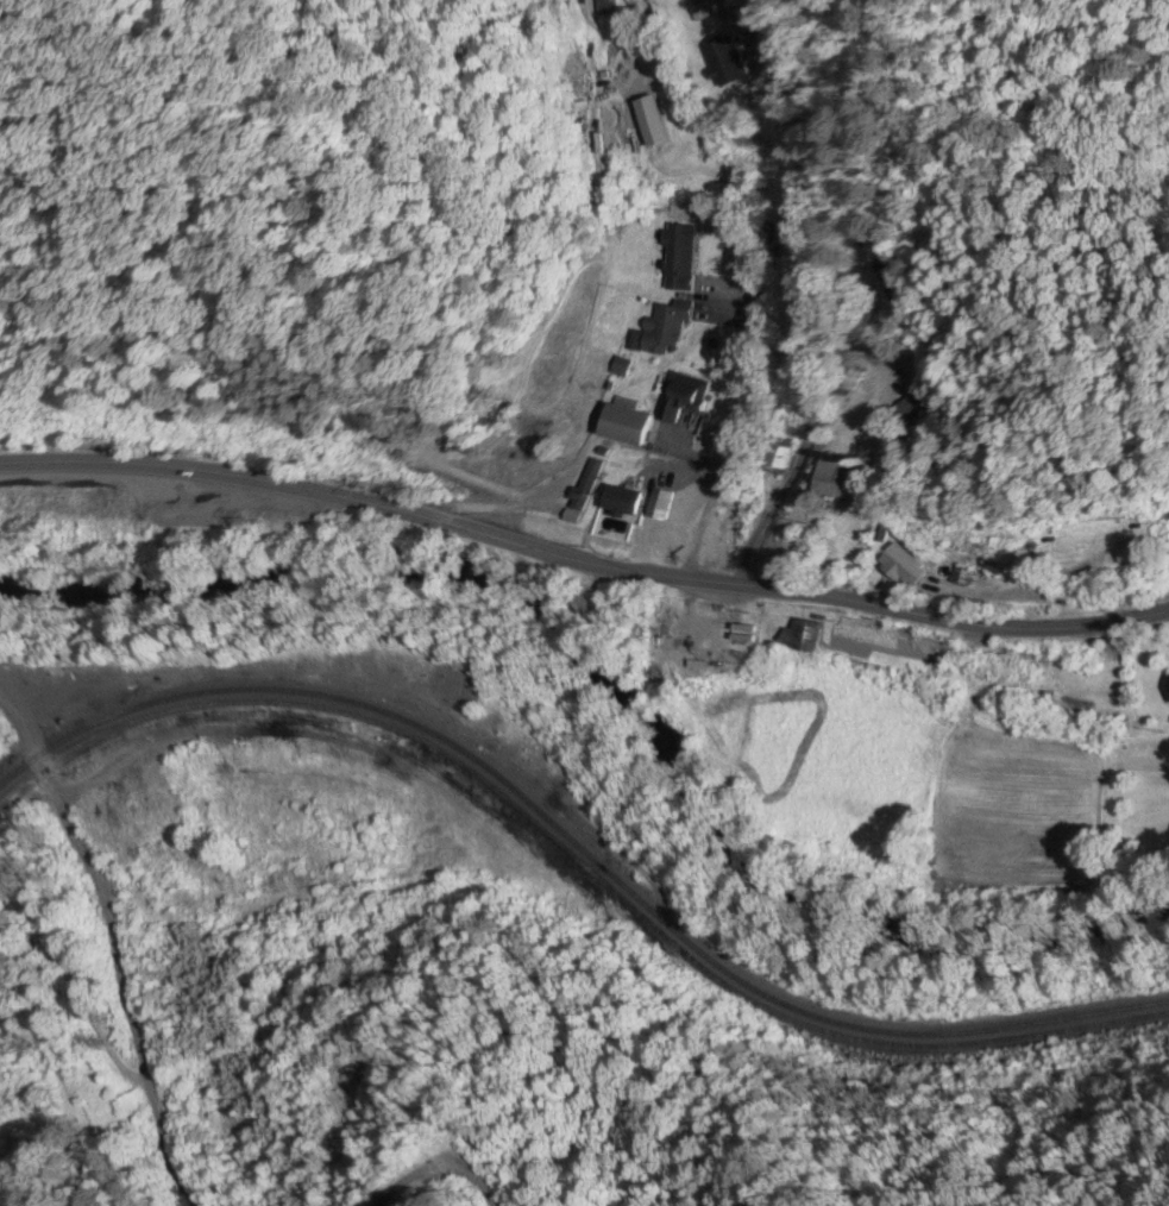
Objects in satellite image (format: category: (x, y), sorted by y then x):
building: (603, 7)
building: (730, 63)
building: (289, 188)
building: (679, 258)
road: (747, 282)
building: (890, 285)
building: (662, 328)
building: (855, 381)
building: (684, 396)
building: (627, 427)
road: (810, 441)
building: (784, 457)
building: (838, 480)
building: (589, 491)
building: (627, 502)
building: (664, 541)
road: (582, 558)
building: (906, 567)
building: (805, 637)
railway: (579, 848)
road: (92, 948)
park: (46, 1069)

